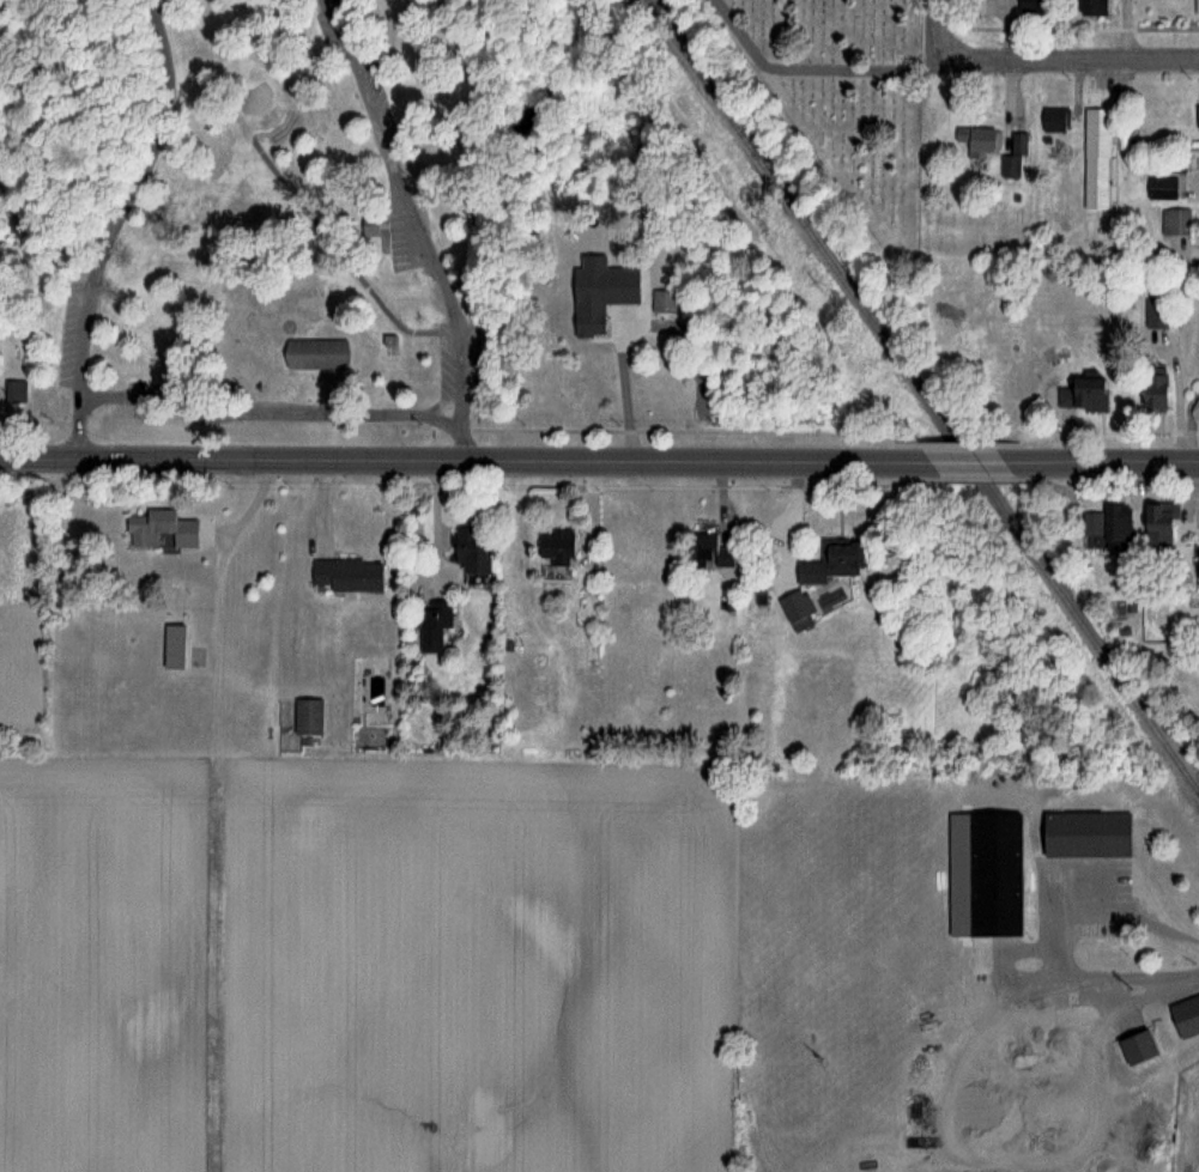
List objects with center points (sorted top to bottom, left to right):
building: (1034, 6)
building: (1092, 7)
road: (937, 23)
road: (1067, 62)
park: (846, 98)
building: (1197, 116)
building: (1053, 119)
building: (979, 139)
building: (1095, 158)
building: (1176, 159)
building: (1010, 165)
building: (1161, 187)
park: (326, 205)
building: (1176, 221)
road: (117, 224)
building: (368, 225)
road: (417, 226)
parking lot: (398, 238)
building: (658, 300)
building: (585, 317)
parking lot: (67, 335)
building: (320, 356)
parking lot: (447, 362)
building: (1151, 388)
road: (622, 389)
building: (1083, 393)
railway: (922, 396)
road: (272, 413)
road: (460, 460)
road: (1108, 461)
road: (969, 462)
road: (785, 523)
building: (1107, 526)
building: (1157, 526)
building: (157, 529)
building: (553, 545)
building: (468, 548)
building: (703, 549)
building: (829, 561)
building: (341, 573)
building: (794, 606)
building: (432, 624)
building: (175, 646)
building: (305, 716)
building: (1085, 834)
building: (993, 874)
road: (1062, 949)
building: (1185, 1016)
building: (1139, 1049)

